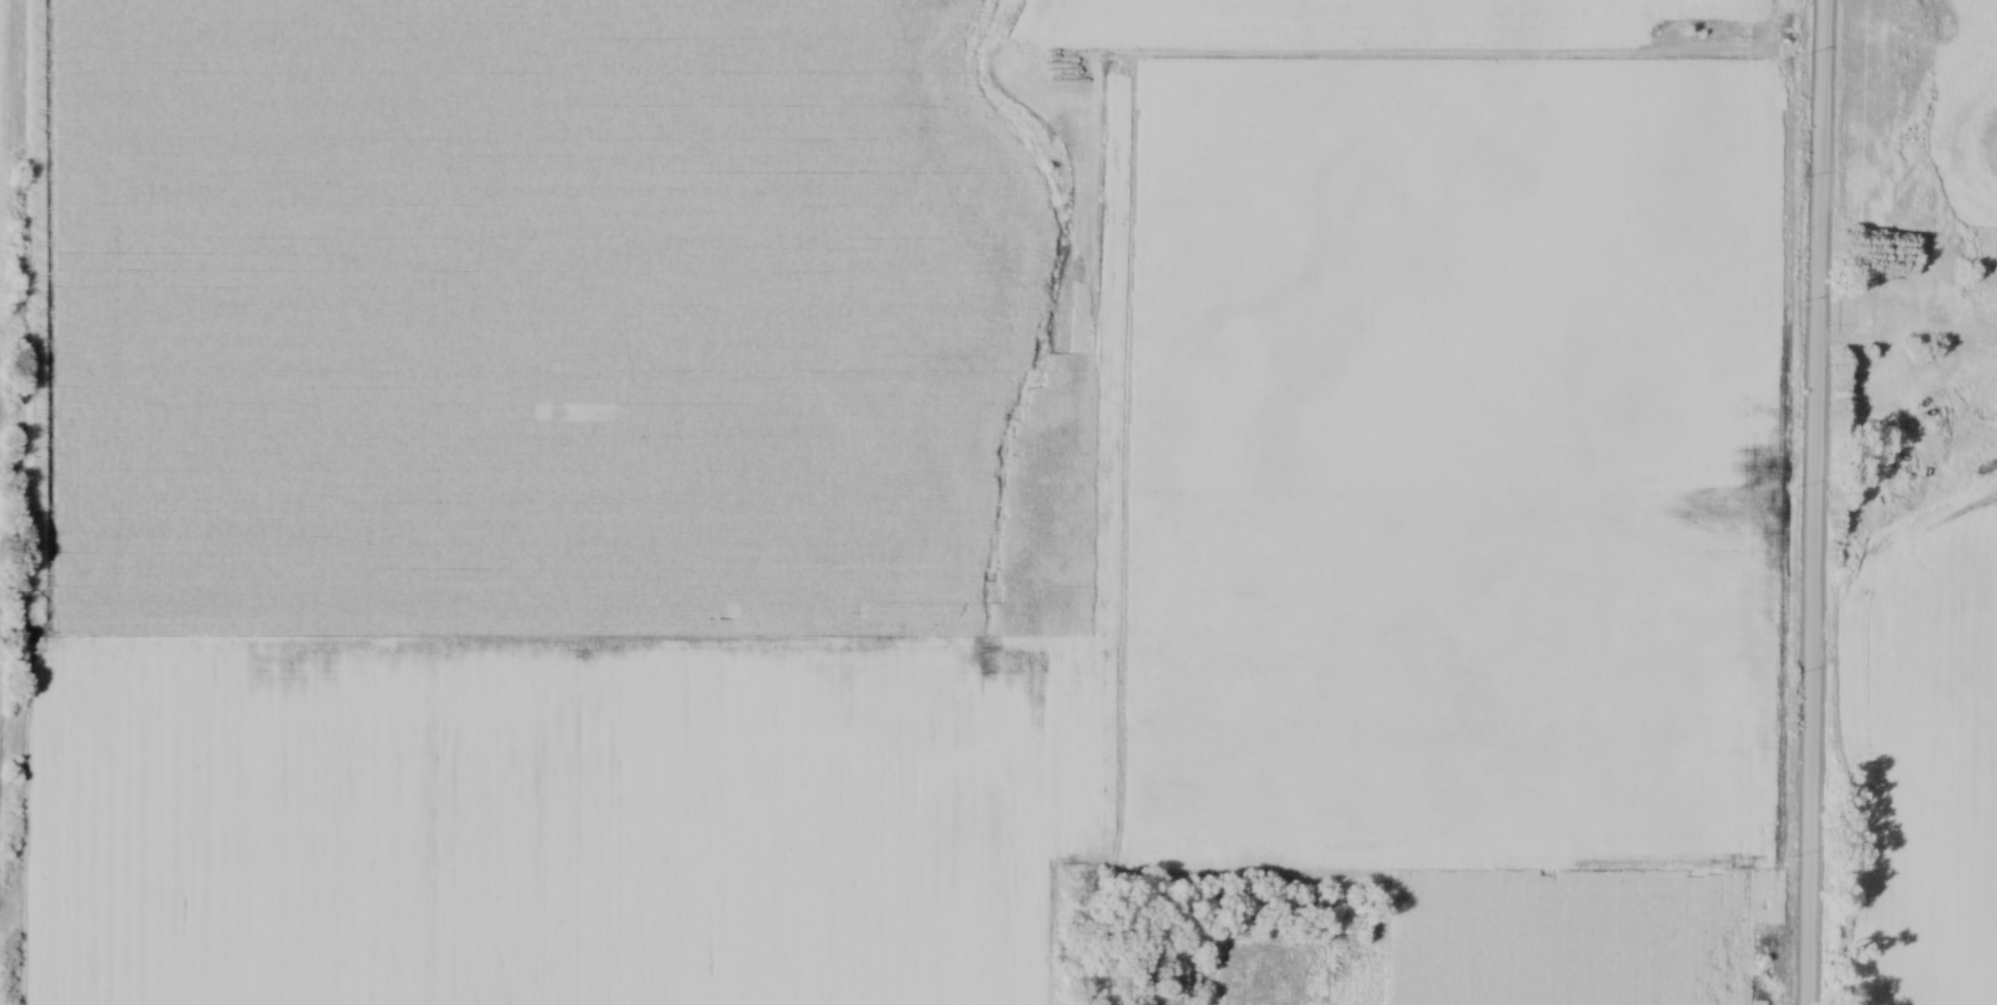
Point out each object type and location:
building: (1945, 418)
road: (1817, 502)

